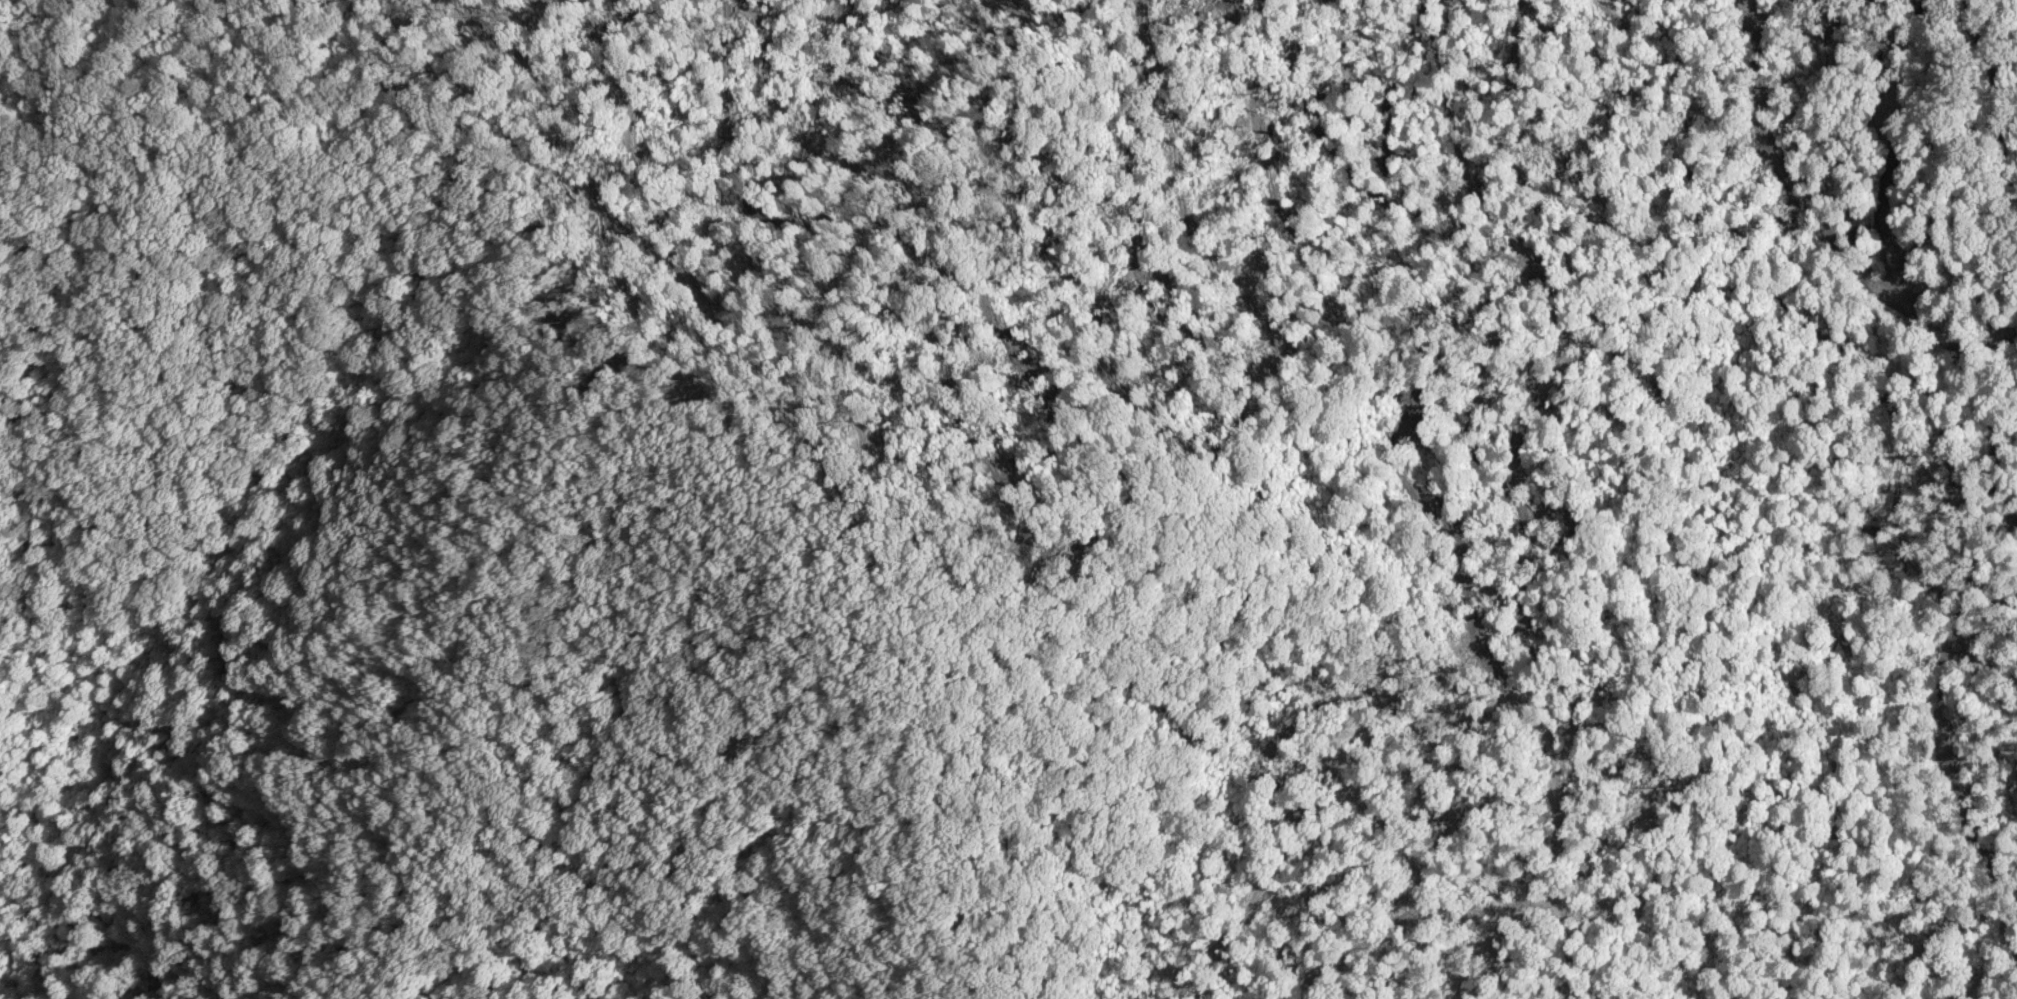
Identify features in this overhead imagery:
road: (1945, 156)

